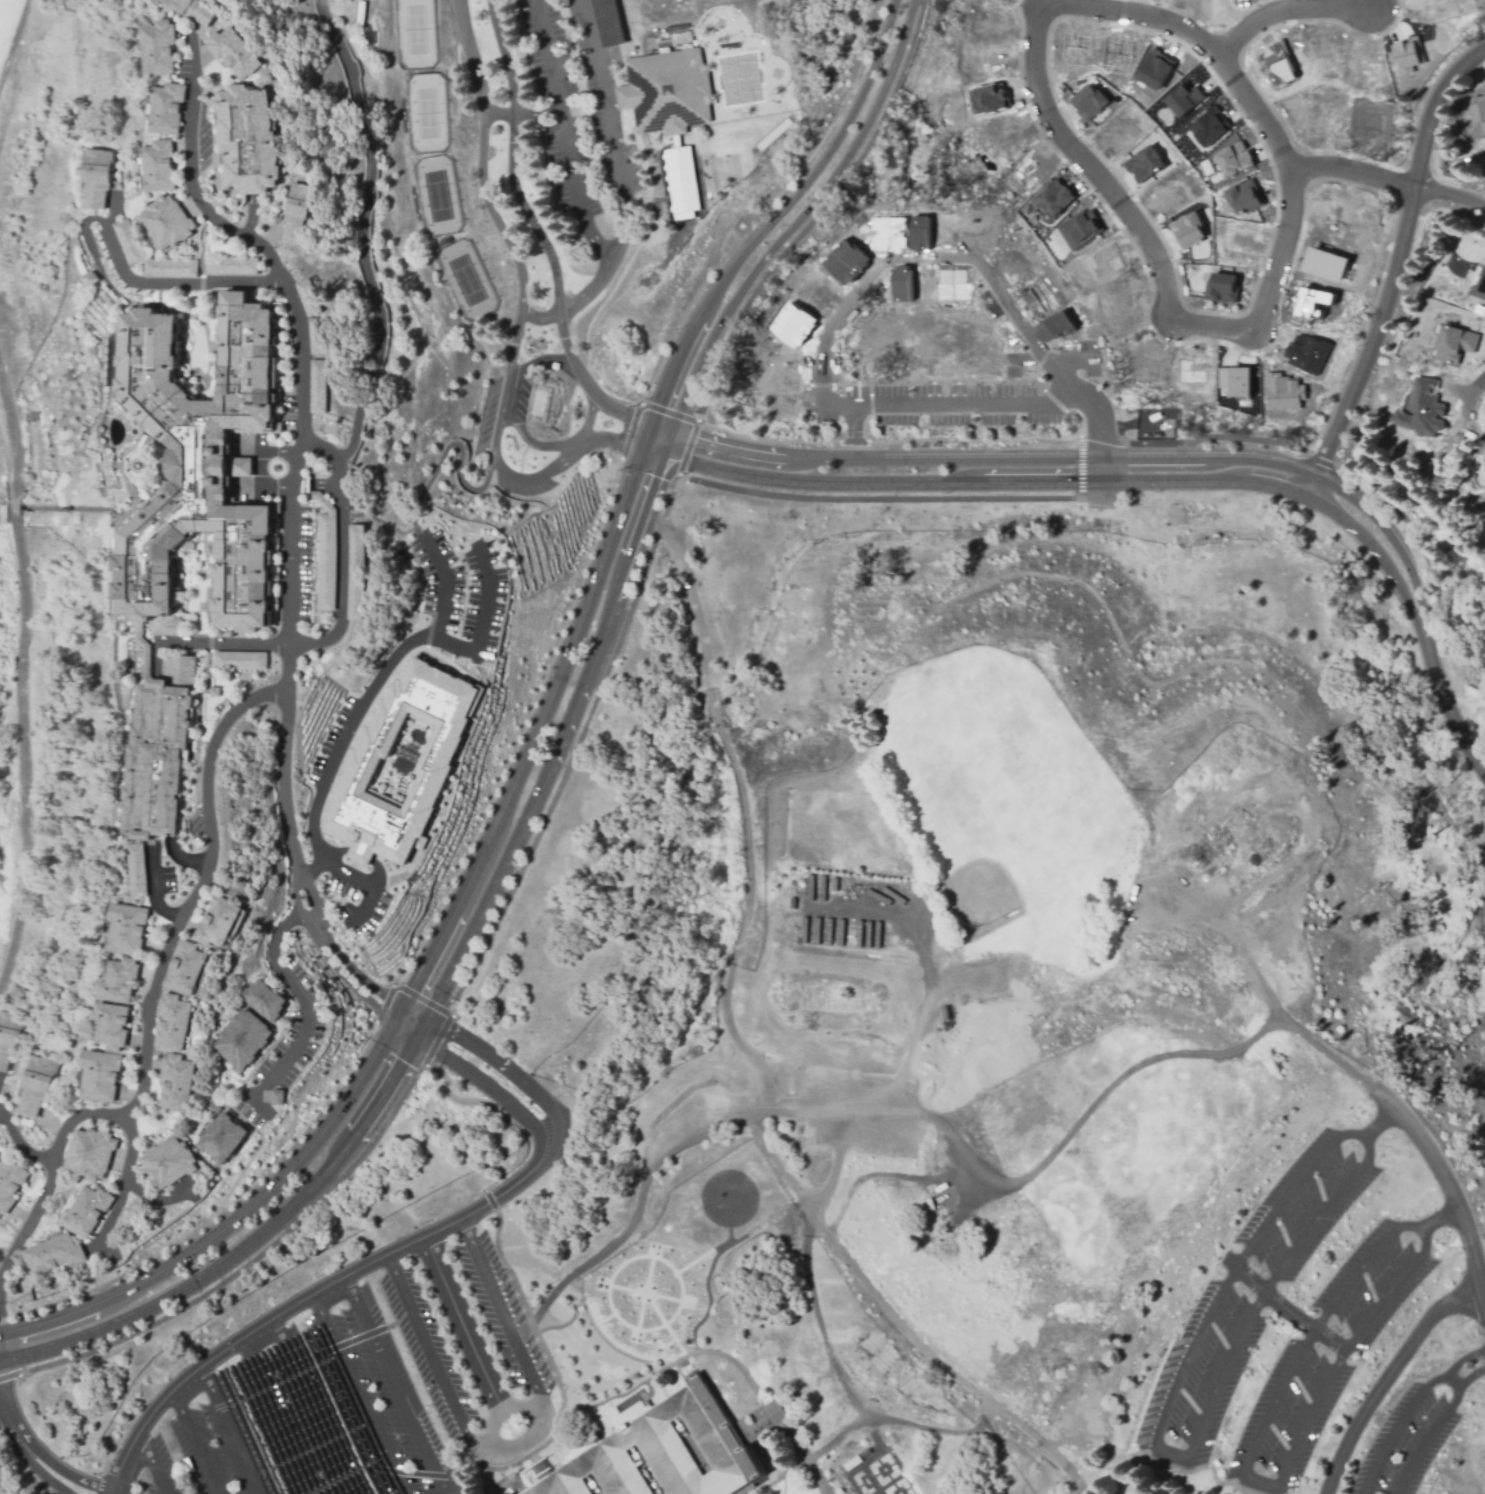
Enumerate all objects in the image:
building: (192, 10)
road: (1287, 14)
park: (13, 22)
park: (800, 27)
building: (679, 37)
road: (12, 41)
building: (157, 48)
building: (1074, 48)
building: (233, 52)
building: (1406, 55)
building: (1277, 64)
building: (1155, 69)
building: (668, 90)
building: (1185, 99)
building: (988, 100)
building: (1089, 101)
building: (166, 108)
road: (534, 113)
building: (1476, 120)
road: (610, 126)
building: (1210, 127)
road: (560, 134)
road: (1062, 137)
building: (243, 139)
building: (1235, 159)
park: (441, 161)
building: (1144, 164)
building: (158, 167)
road: (1353, 172)
building: (681, 177)
building: (97, 178)
park: (686, 183)
building: (1245, 197)
road: (1450, 197)
building: (1057, 200)
road: (769, 207)
building: (296, 209)
road: (824, 217)
road: (490, 219)
road: (775, 219)
building: (165, 222)
road: (797, 223)
building: (1188, 229)
building: (1078, 230)
road: (533, 232)
road: (359, 233)
building: (887, 233)
building: (919, 233)
building: (207, 237)
building: (126, 242)
road: (884, 259)
building: (844, 260)
building: (231, 263)
building: (1328, 265)
building: (169, 268)
road: (1390, 271)
building: (92, 281)
road: (615, 282)
road: (176, 284)
building: (901, 285)
building: (950, 285)
building: (1480, 286)
building: (1223, 288)
building: (308, 297)
building: (1316, 302)
building: (1054, 327)
building: (1124, 331)
building: (317, 336)
road: (515, 343)
building: (1455, 344)
building: (1306, 352)
building: (1452, 378)
building: (1236, 381)
road: (1476, 384)
building: (318, 386)
building: (1282, 392)
road: (1085, 401)
road: (969, 404)
building: (1428, 407)
road: (668, 413)
building: (1149, 426)
road: (600, 437)
road: (658, 438)
road: (625, 445)
road: (496, 446)
road: (534, 448)
road: (297, 451)
road: (994, 458)
road: (1318, 460)
road: (1080, 463)
road: (261, 464)
road: (457, 464)
building: (204, 469)
road: (986, 480)
road: (671, 500)
road: (1390, 538)
road: (1378, 551)
building: (323, 553)
building: (354, 573)
road: (340, 612)
road: (482, 620)
road: (941, 655)
building: (239, 659)
road: (17, 679)
road: (792, 681)
building: (694, 682)
road: (372, 686)
building: (214, 691)
road: (1445, 705)
road: (532, 724)
road: (558, 743)
building: (436, 761)
building: (158, 764)
road: (1299, 804)
road: (746, 808)
road: (183, 862)
road: (297, 879)
road: (359, 880)
park: (984, 891)
road: (155, 892)
road: (836, 910)
road: (309, 917)
building: (216, 924)
building: (128, 933)
road: (1235, 933)
road: (169, 946)
road: (333, 948)
road: (322, 956)
building: (185, 970)
building: (119, 986)
building: (265, 1002)
road: (382, 1004)
road: (301, 1005)
road: (449, 1012)
road: (399, 1013)
road: (919, 1018)
road: (395, 1021)
building: (170, 1023)
road: (409, 1025)
building: (111, 1029)
building: (8, 1039)
building: (243, 1040)
road: (1204, 1056)
building: (100, 1079)
building: (177, 1083)
building: (38, 1090)
building: (277, 1099)
building: (209, 1107)
road: (504, 1112)
road: (78, 1117)
road: (1381, 1122)
road: (690, 1139)
building: (223, 1140)
road: (18, 1146)
building: (91, 1156)
park: (1137, 1160)
building: (165, 1164)
building: (10, 1186)
road: (1292, 1187)
road: (491, 1200)
road: (153, 1202)
building: (87, 1213)
road: (1320, 1214)
road: (1441, 1219)
road: (29, 1222)
road: (230, 1223)
road: (249, 1247)
road: (385, 1256)
building: (55, 1257)
road: (707, 1270)
road: (1392, 1290)
road: (644, 1292)
road: (645, 1292)
road: (608, 1297)
road: (1288, 1308)
road: (640, 1310)
road: (501, 1313)
road: (666, 1323)
road: (816, 1326)
road: (376, 1330)
road: (468, 1334)
road: (674, 1337)
road: (430, 1356)
road: (689, 1358)
road: (953, 1373)
road: (10, 1375)
road: (1470, 1376)
road: (1388, 1377)
road: (416, 1380)
road: (1452, 1381)
road: (263, 1384)
road: (393, 1387)
road: (364, 1393)
road: (311, 1407)
road: (1410, 1408)
road: (1268, 1412)
road: (273, 1415)
road: (902, 1424)
road: (230, 1429)
road: (530, 1431)
road: (1426, 1440)
road: (187, 1441)
road: (31, 1451)
building: (657, 1453)
road: (1162, 1453)
road: (150, 1464)
road: (387, 1469)
road: (818, 1473)
road: (778, 1475)
road: (784, 1484)
road: (115, 1487)
road: (823, 1491)
road: (1076, 1492)

